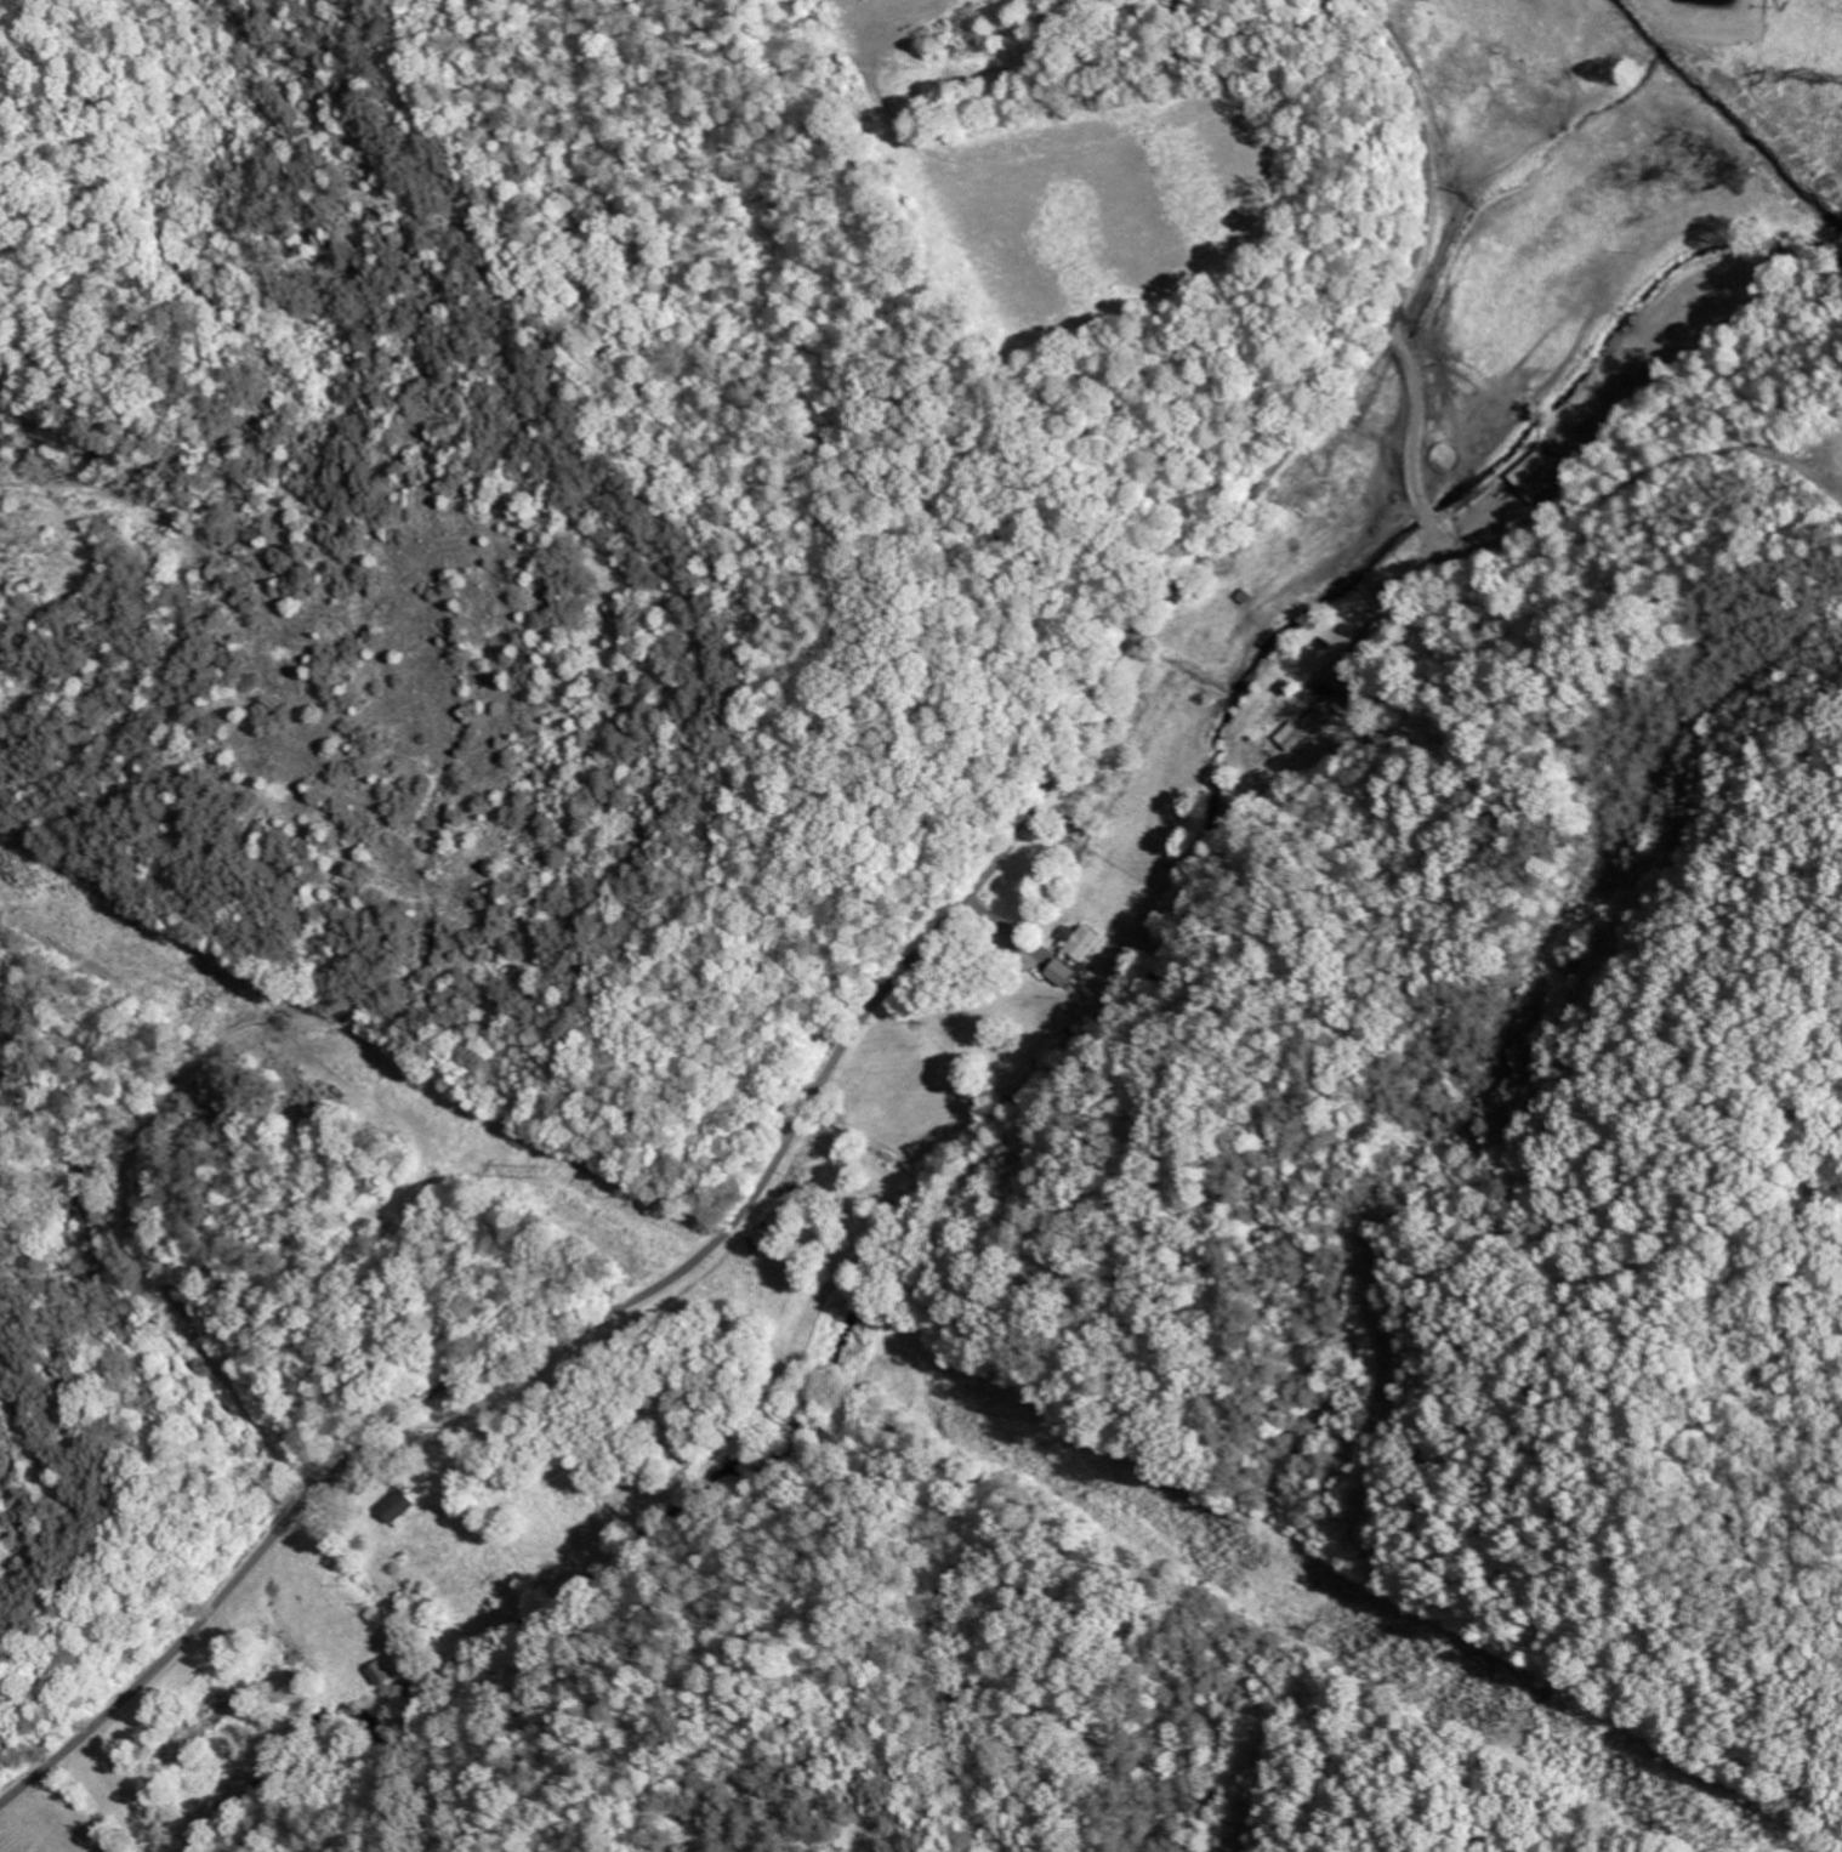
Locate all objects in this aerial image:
road: (1437, 192)
building: (1539, 477)
building: (1306, 729)
building: (1063, 972)
power tower: (551, 1170)
road: (768, 1188)
building: (398, 1507)
power tower: (1545, 1715)
power tower: (1781, 1844)

